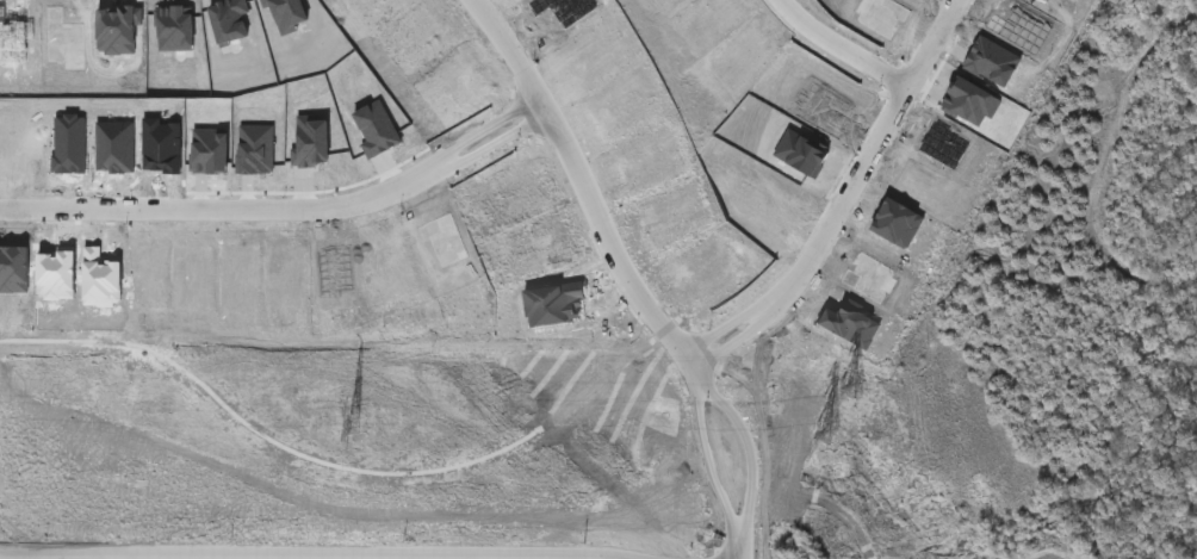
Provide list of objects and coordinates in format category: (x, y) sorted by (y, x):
road: (934, 49)
road: (835, 51)
road: (1105, 162)
road: (280, 221)
road: (819, 256)
road: (622, 271)
power tower: (351, 424)
power tower: (832, 428)
road: (114, 557)

